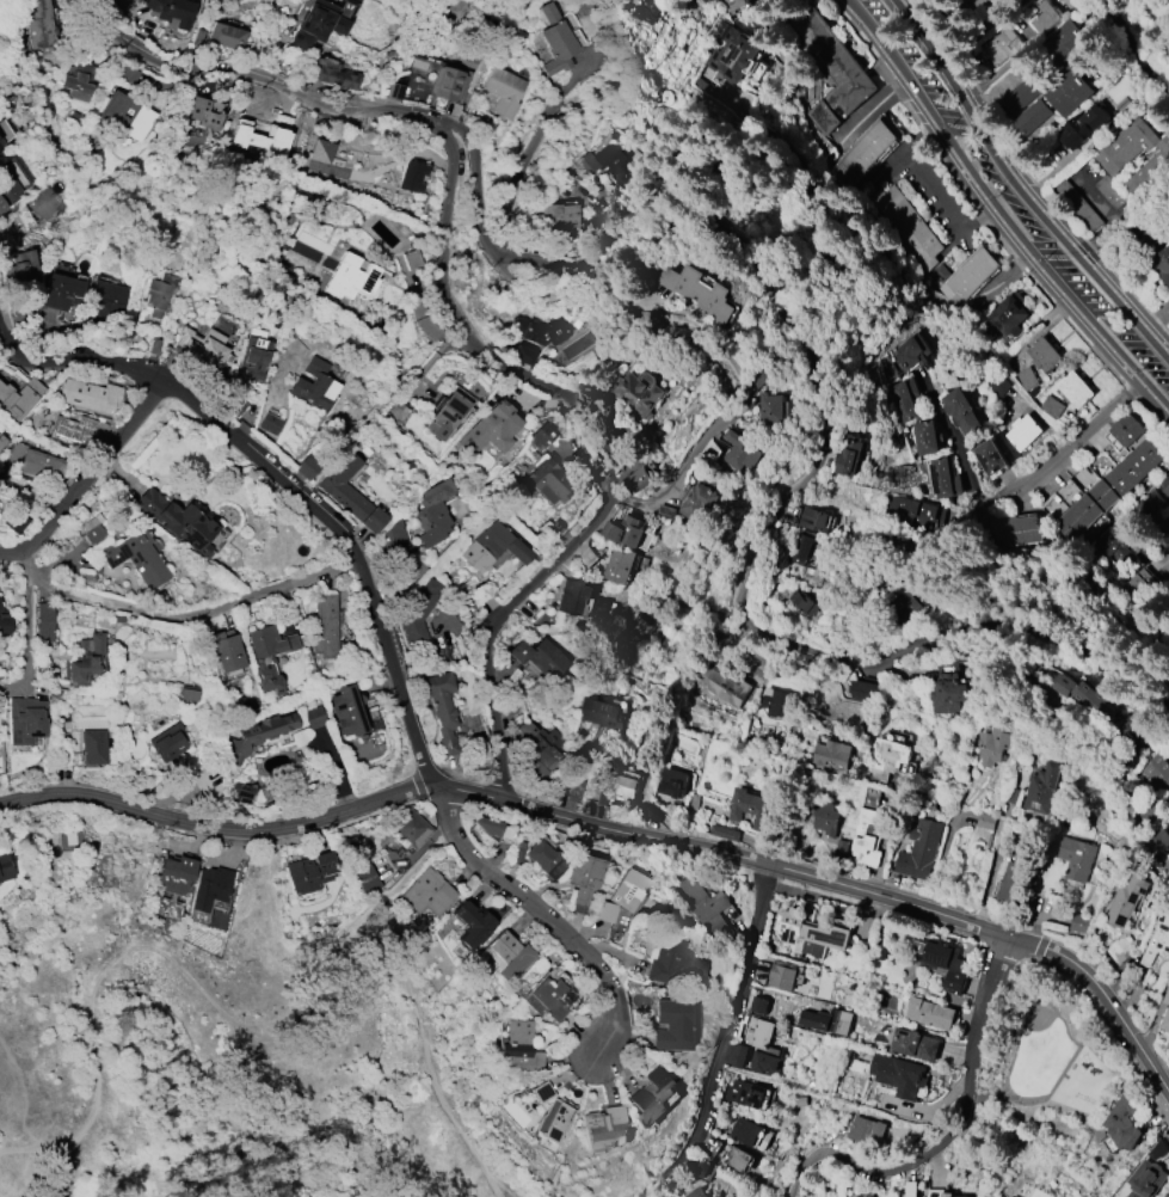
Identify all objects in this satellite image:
building: (734, 5)
building: (651, 10)
building: (173, 11)
building: (1046, 17)
building: (316, 24)
building: (43, 27)
building: (572, 29)
building: (224, 36)
building: (196, 37)
building: (1005, 38)
building: (555, 41)
building: (1068, 41)
building: (734, 55)
building: (831, 70)
building: (127, 73)
building: (336, 76)
building: (450, 79)
road: (993, 79)
building: (79, 81)
road: (272, 90)
building: (500, 92)
building: (1068, 92)
building: (1022, 93)
building: (204, 112)
building: (127, 115)
building: (1029, 118)
building: (1078, 130)
building: (1, 143)
building: (277, 143)
building: (320, 151)
building: (861, 154)
road: (531, 158)
building: (1114, 162)
building: (610, 164)
building: (411, 176)
road: (1030, 177)
building: (11, 182)
road: (1015, 189)
building: (1110, 191)
road: (933, 192)
road: (977, 198)
building: (1079, 205)
road: (998, 213)
building: (560, 216)
road: (1110, 220)
building: (904, 226)
building: (1148, 232)
building: (411, 259)
building: (1162, 263)
building: (21, 269)
building: (965, 276)
building: (350, 277)
building: (61, 291)
building: (697, 291)
building: (158, 294)
building: (105, 300)
building: (1007, 315)
building: (16, 317)
building: (539, 331)
building: (201, 346)
building: (909, 352)
building: (523, 355)
building: (253, 356)
building: (1045, 356)
road: (731, 363)
building: (1025, 379)
building: (761, 380)
building: (313, 385)
building: (996, 386)
building: (1075, 389)
building: (88, 395)
building: (638, 395)
building: (19, 397)
building: (905, 399)
building: (1051, 407)
building: (398, 409)
building: (770, 409)
building: (960, 412)
building: (445, 417)
building: (269, 424)
building: (72, 429)
building: (491, 429)
building: (1128, 430)
building: (1023, 432)
building: (542, 434)
building: (927, 437)
building: (2, 441)
road: (952, 447)
building: (739, 452)
building: (850, 455)
road: (1056, 455)
building: (989, 456)
building: (39, 464)
building: (306, 467)
road: (608, 469)
road: (81, 478)
building: (945, 478)
building: (640, 479)
road: (802, 480)
road: (287, 481)
building: (548, 481)
building: (1164, 486)
road: (31, 491)
building: (1108, 491)
building: (350, 493)
building: (1152, 501)
building: (697, 503)
building: (432, 511)
building: (907, 511)
building: (813, 520)
building: (16, 521)
building: (177, 521)
building: (554, 527)
building: (1157, 529)
building: (625, 530)
building: (1015, 532)
building: (215, 538)
building: (393, 540)
building: (1113, 546)
building: (492, 547)
building: (798, 552)
building: (128, 555)
building: (620, 565)
building: (1134, 587)
road: (24, 590)
building: (571, 596)
building: (907, 601)
building: (802, 603)
building: (419, 609)
building: (2, 622)
building: (44, 622)
building: (324, 626)
road: (180, 628)
building: (224, 650)
building: (269, 655)
building: (540, 657)
building: (85, 659)
road: (1004, 679)
building: (722, 685)
building: (863, 692)
building: (187, 693)
building: (952, 695)
building: (1082, 695)
building: (775, 701)
building: (441, 708)
building: (346, 711)
building: (601, 714)
building: (313, 717)
building: (25, 720)
building: (258, 735)
road: (1093, 741)
building: (167, 742)
building: (92, 747)
building: (997, 747)
building: (541, 750)
building: (832, 754)
building: (891, 759)
building: (1156, 771)
building: (673, 782)
building: (623, 786)
building: (571, 787)
building: (1045, 788)
building: (240, 791)
building: (602, 797)
building: (694, 802)
building: (747, 806)
building: (653, 812)
building: (1148, 812)
building: (829, 818)
road: (1134, 821)
road: (215, 827)
building: (408, 829)
building: (493, 829)
building: (725, 833)
building: (867, 837)
building: (841, 846)
building: (919, 851)
building: (517, 855)
building: (1077, 858)
building: (544, 859)
building: (5, 867)
building: (309, 872)
building: (174, 874)
building: (365, 878)
building: (583, 878)
building: (1010, 880)
road: (835, 883)
building: (209, 888)
building: (626, 890)
building: (427, 894)
building: (1126, 900)
building: (707, 908)
building: (604, 911)
road: (542, 913)
building: (470, 923)
building: (1079, 923)
building: (810, 934)
building: (1157, 940)
building: (1121, 951)
building: (509, 956)
building: (943, 964)
building: (677, 965)
building: (782, 975)
building: (552, 995)
building: (759, 1005)
building: (1164, 1011)
building: (930, 1013)
building: (826, 1021)
building: (671, 1025)
road: (242, 1026)
road: (725, 1031)
building: (759, 1032)
building: (917, 1045)
building: (517, 1046)
road: (1073, 1054)
building: (737, 1055)
park: (1036, 1056)
road: (1008, 1061)
building: (764, 1062)
building: (899, 1075)
building: (541, 1092)
building: (744, 1093)
road: (23, 1095)
building: (652, 1097)
building: (1124, 1122)
building: (550, 1123)
building: (603, 1129)
road: (947, 1130)
building: (746, 1131)
building: (868, 1131)
building: (1157, 1152)
building: (740, 1160)
building: (1146, 1179)
road: (494, 1180)
building: (913, 1189)
road: (650, 1190)
building: (697, 1192)
building: (940, 1193)
building: (867, 1196)
building: (874, 1196)
building: (1010, 1196)

